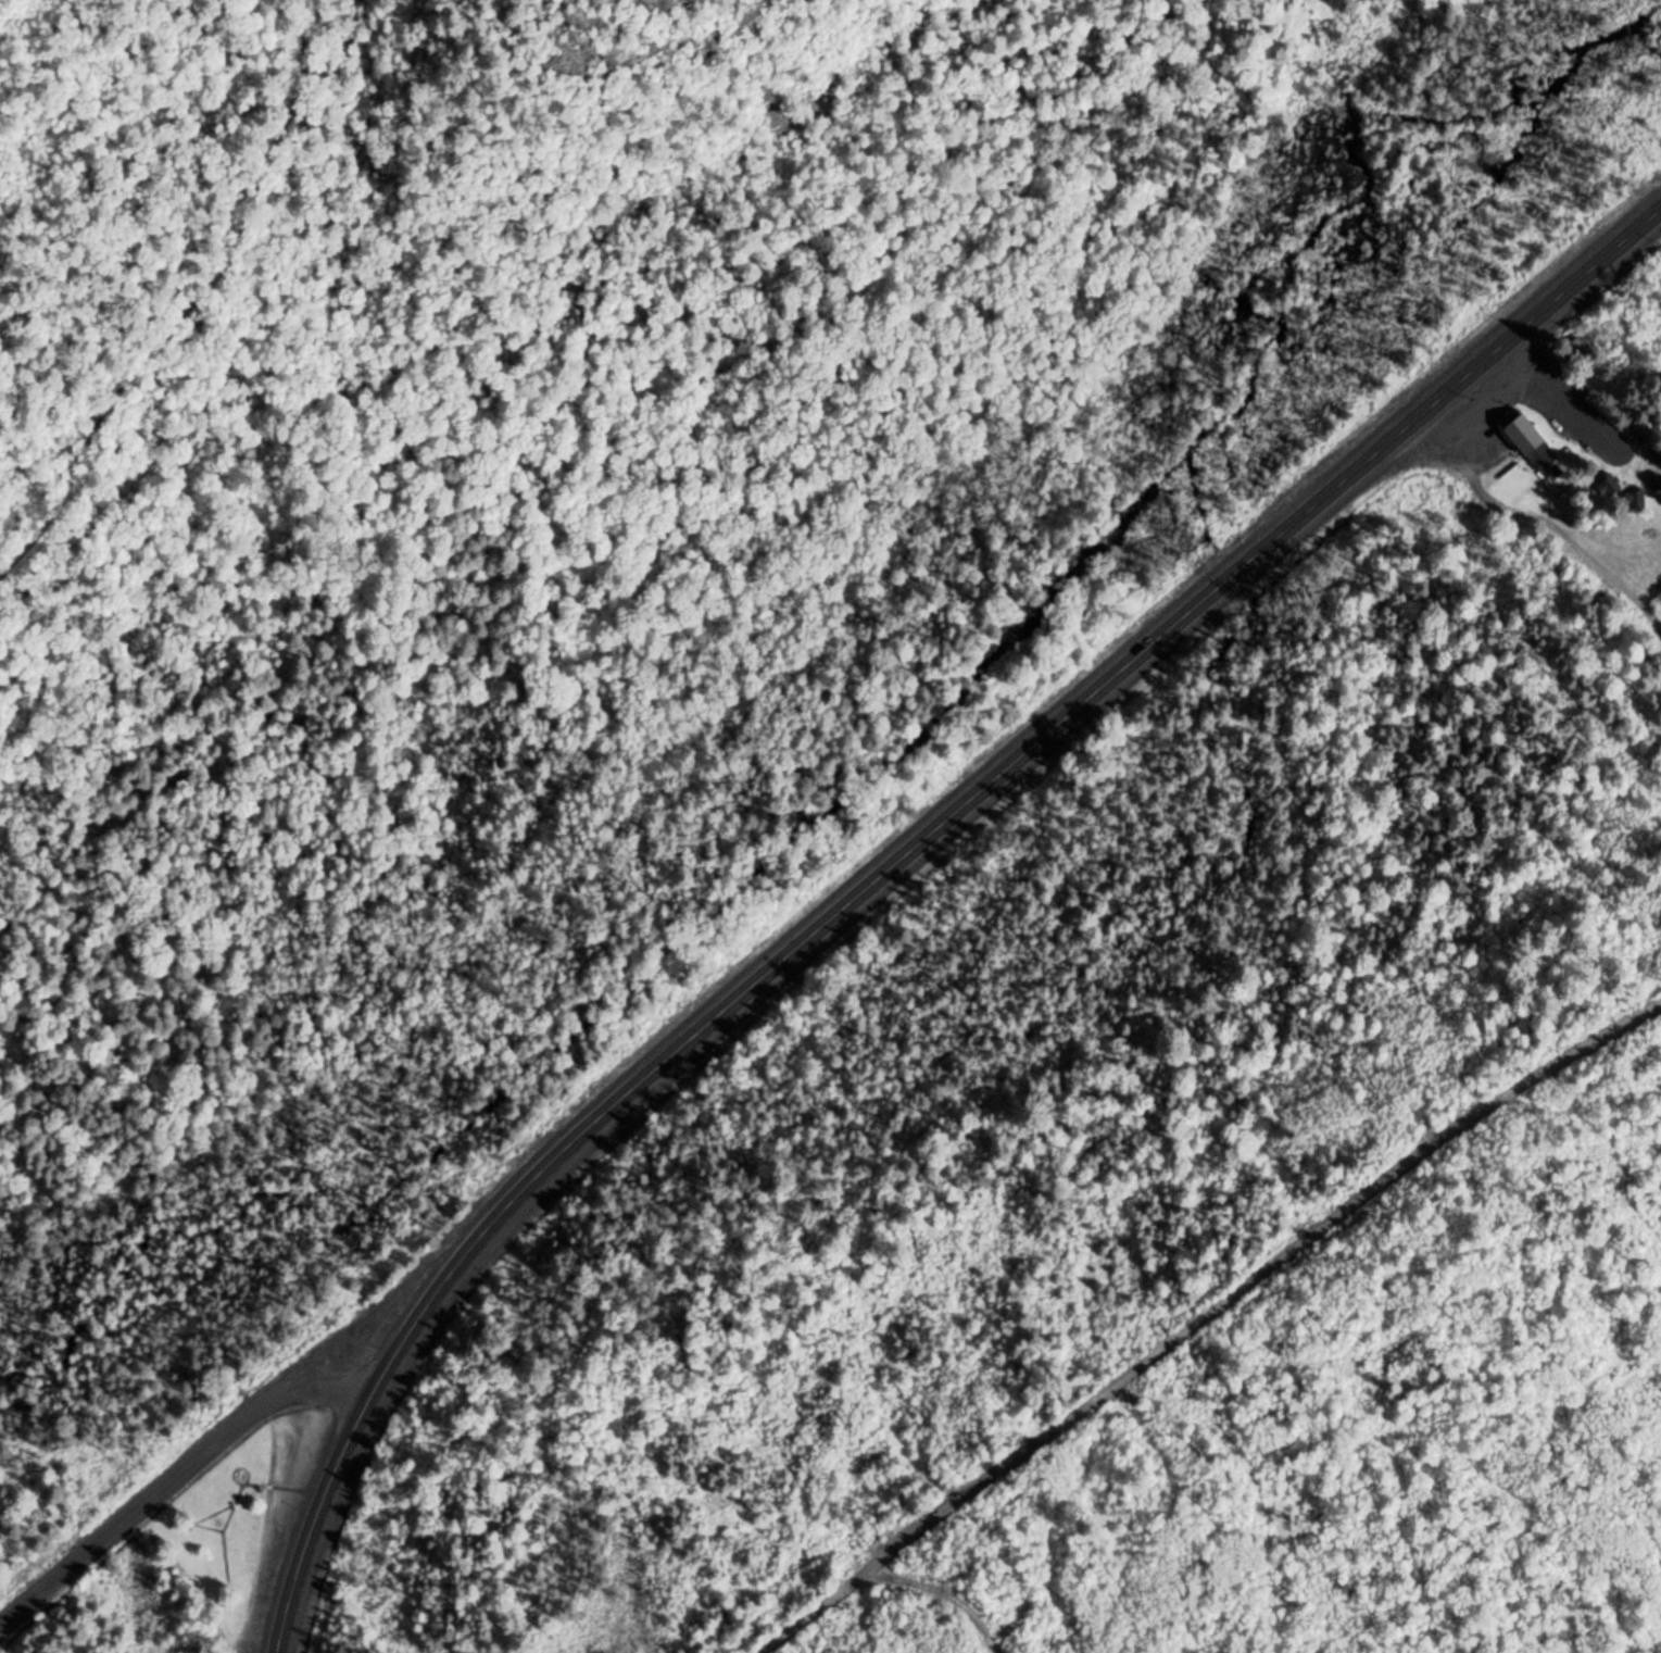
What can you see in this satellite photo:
river: (1360, 176)
road: (196, 298)
building: (1526, 437)
building: (1607, 486)
road: (888, 869)
river: (633, 977)
road: (1210, 1326)
road: (174, 1476)
park: (240, 1523)

